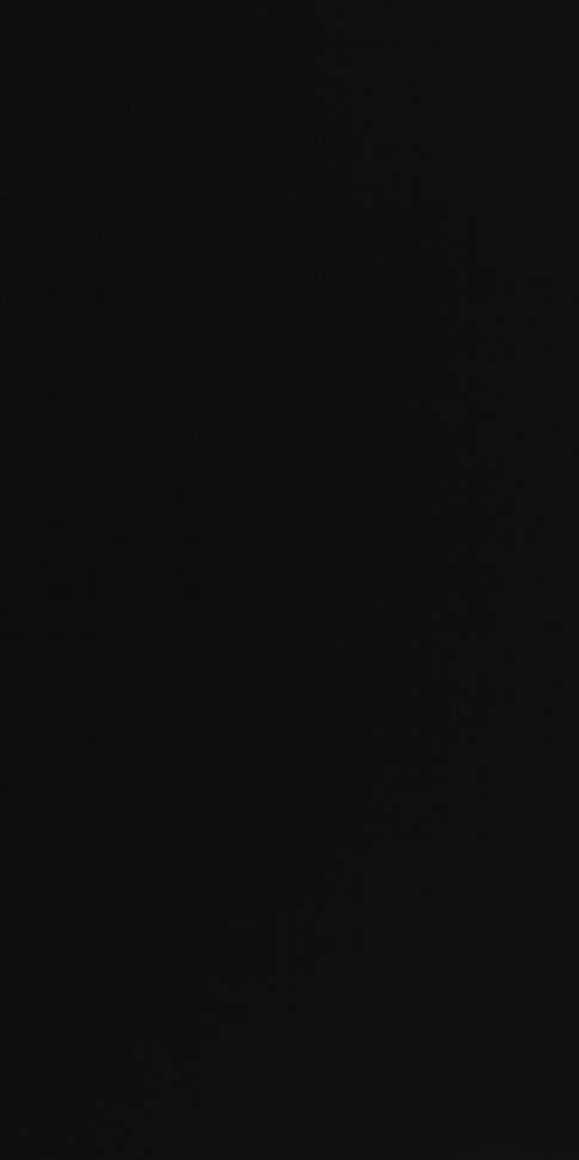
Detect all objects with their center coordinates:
river: (301, 968)

